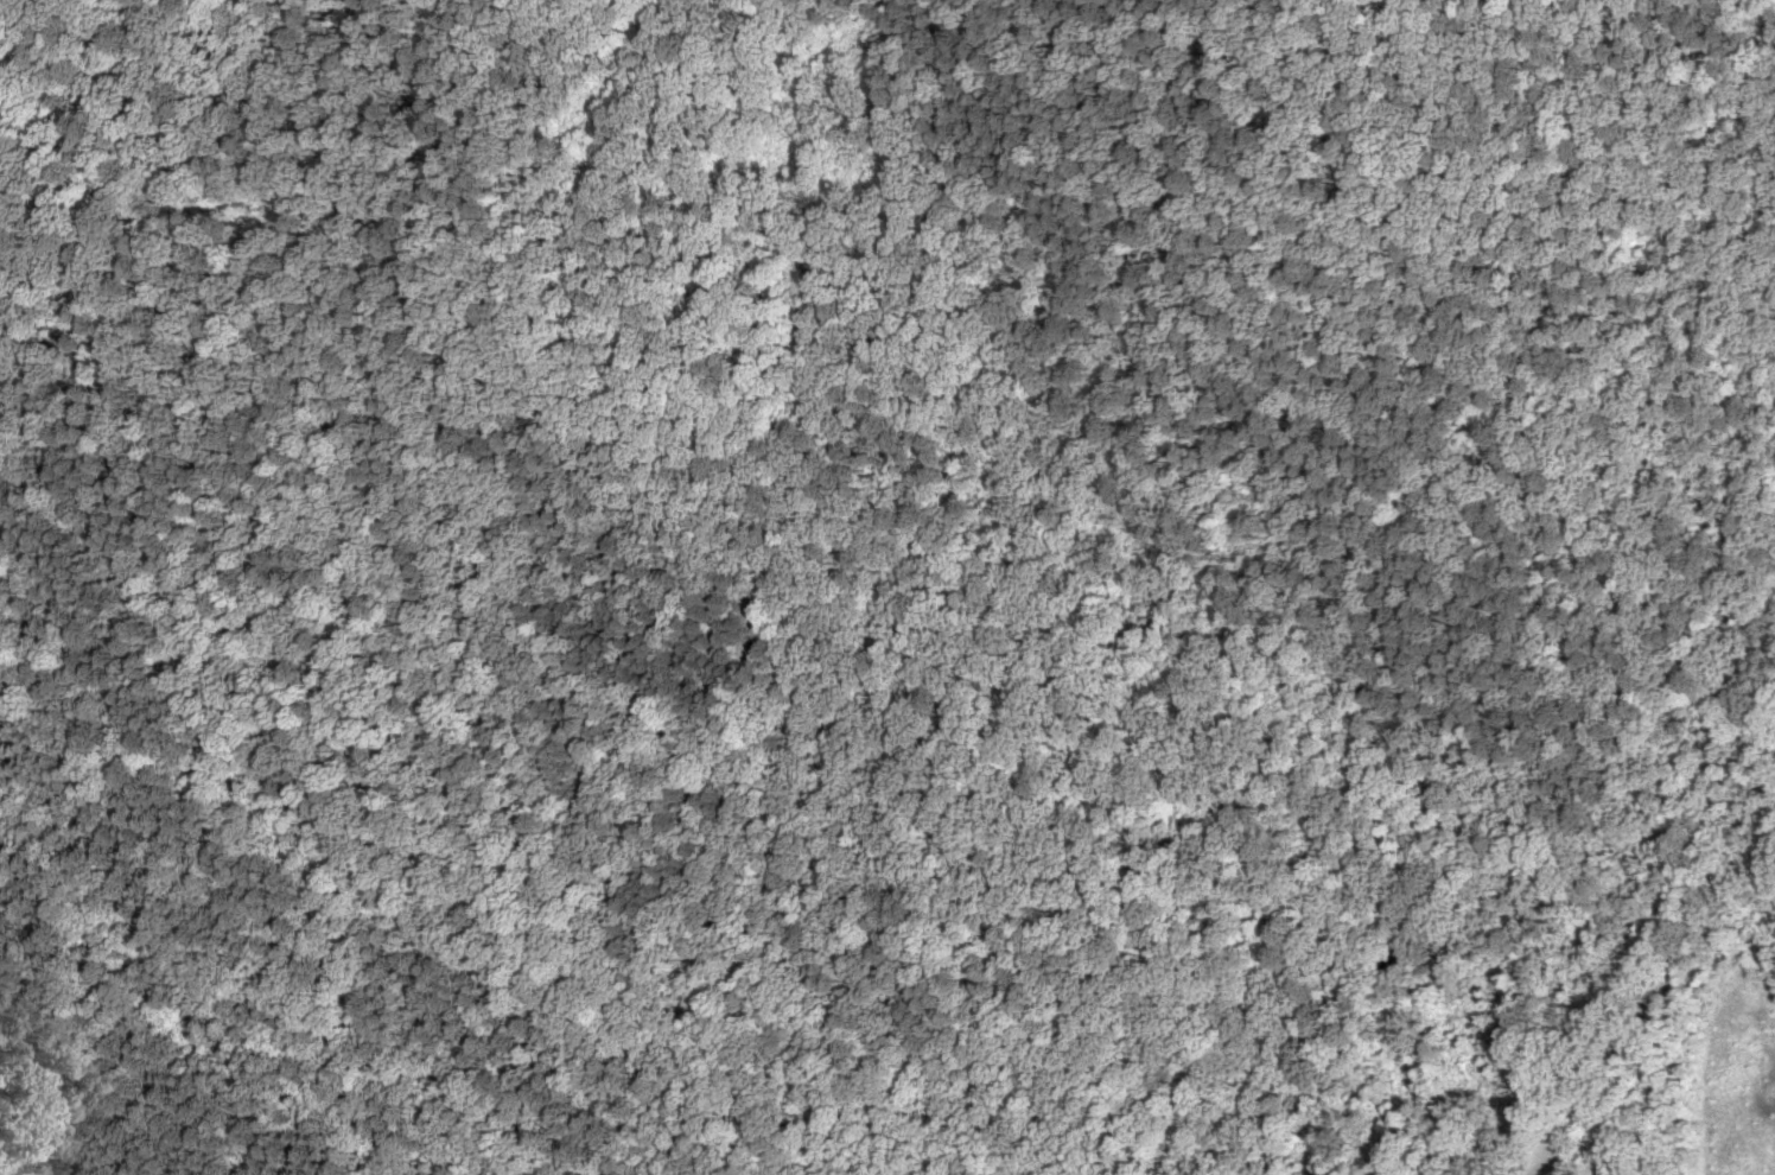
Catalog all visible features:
road: (1361, 821)
road: (164, 955)

